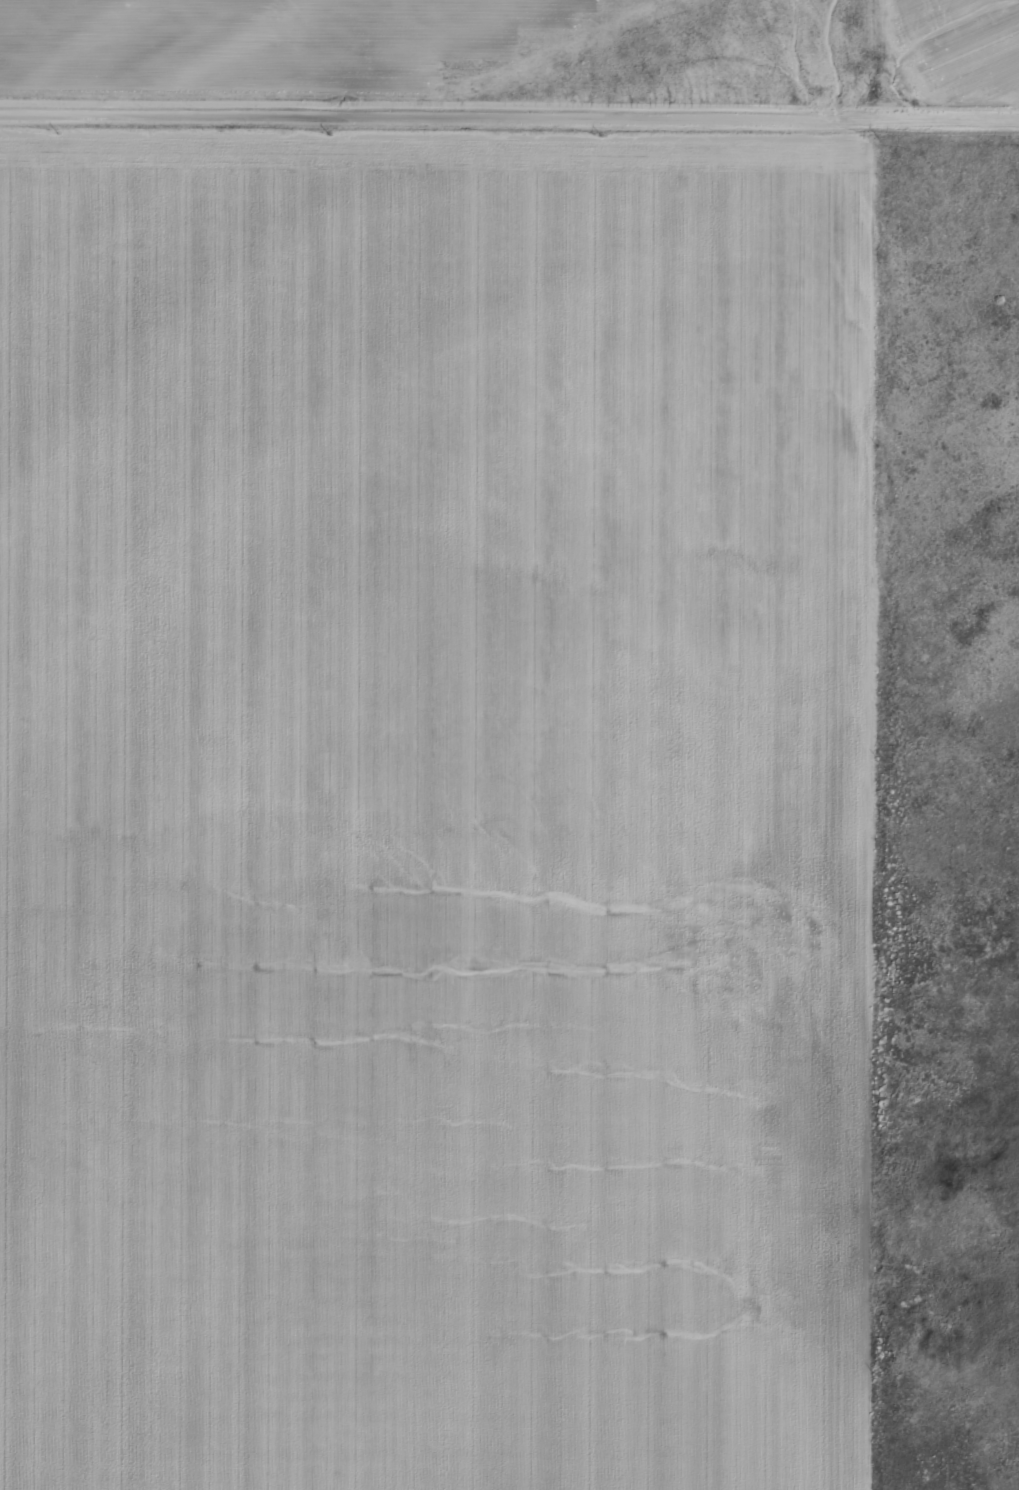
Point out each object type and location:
road: (509, 117)

